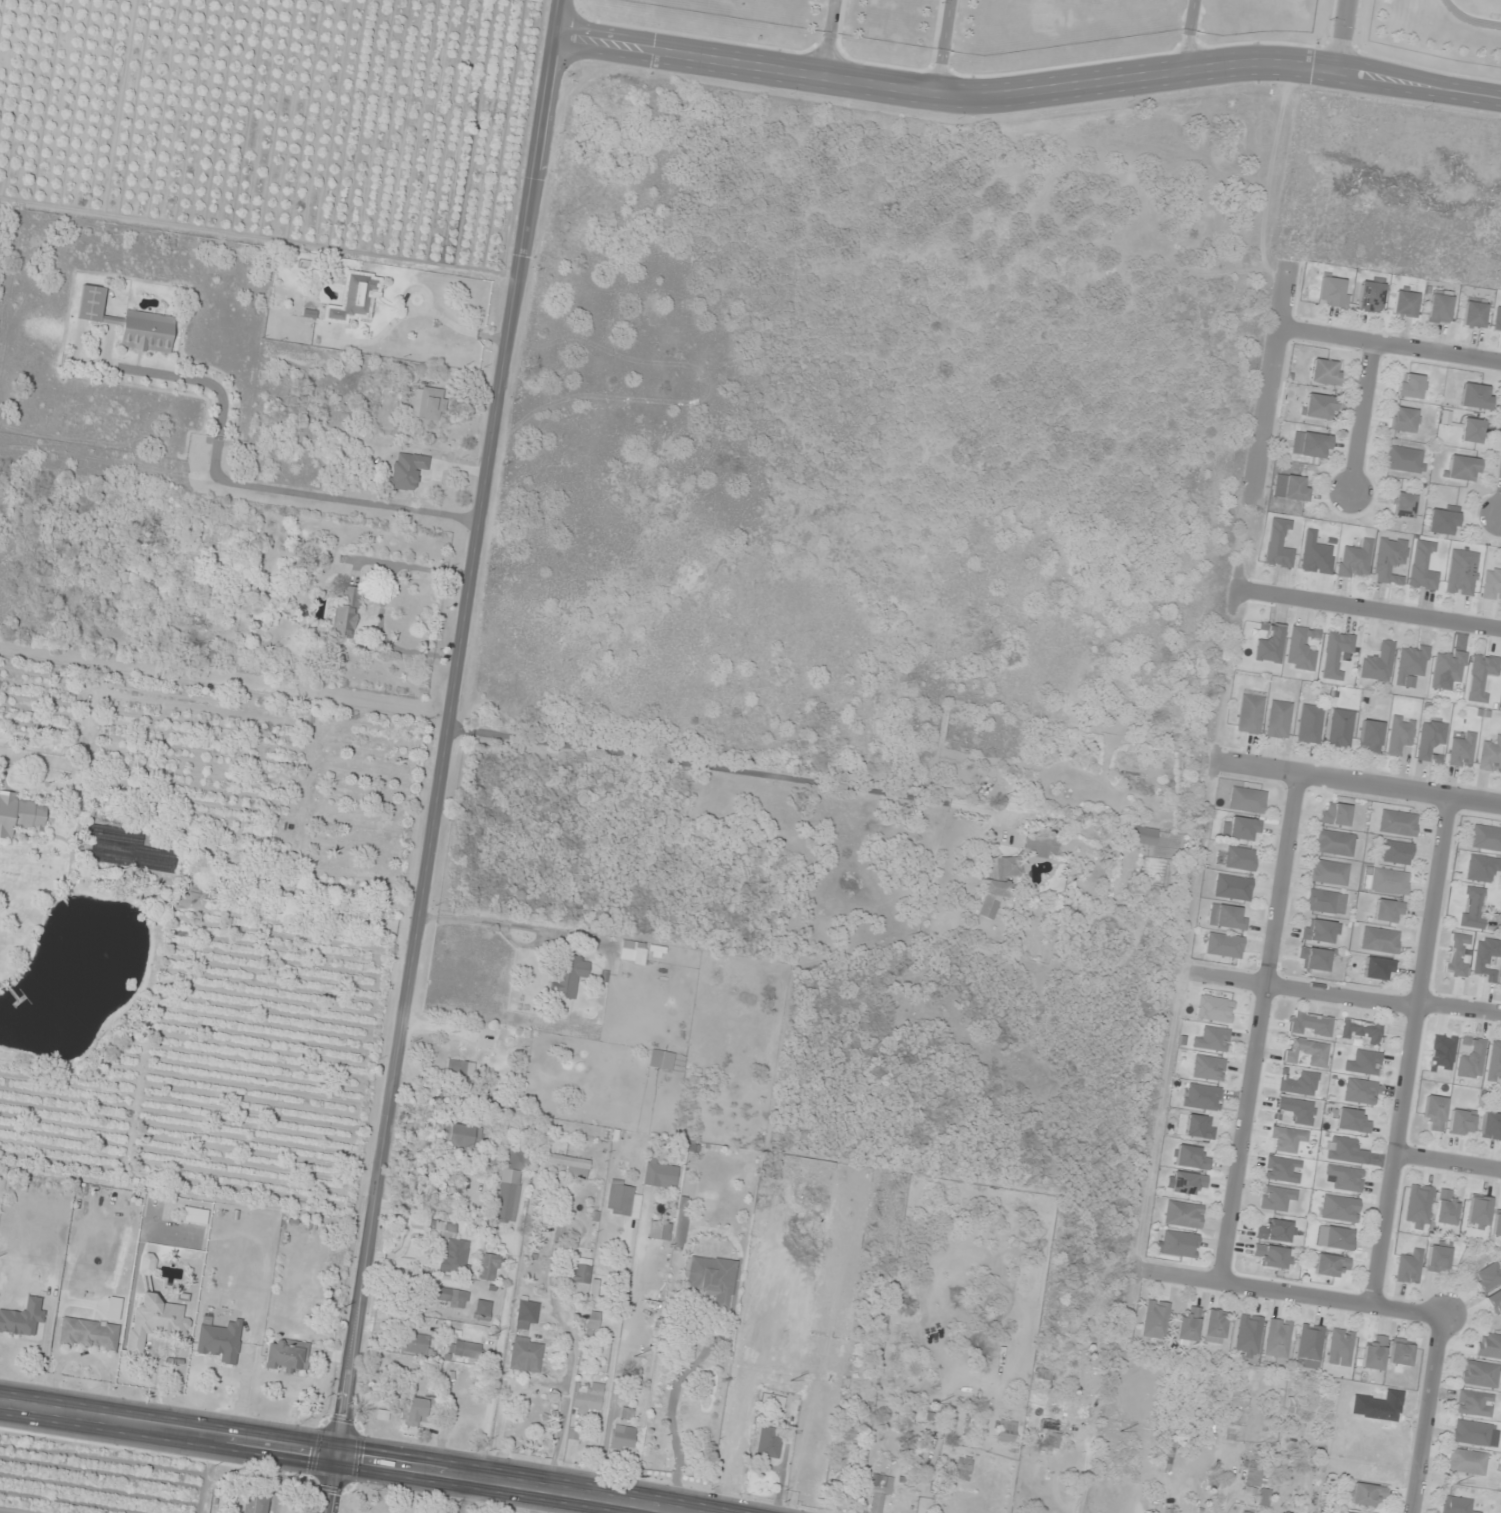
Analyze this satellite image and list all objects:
road: (1189, 34)
road: (1341, 35)
road: (828, 38)
road: (943, 46)
road: (1027, 91)
building: (1332, 293)
building: (1370, 295)
building: (354, 299)
building: (1405, 302)
building: (1439, 307)
building: (1474, 313)
road: (428, 316)
building: (1498, 320)
building: (129, 323)
road: (1390, 345)
building: (1325, 372)
road: (1271, 384)
building: (1412, 386)
building: (1476, 396)
building: (430, 404)
building: (1319, 407)
road: (1362, 419)
building: (1405, 420)
building: (1472, 430)
building: (1311, 444)
building: (1405, 459)
building: (1462, 468)
building: (407, 470)
building: (1296, 488)
building: (1404, 505)
building: (1443, 520)
building: (1279, 545)
building: (1356, 560)
building: (1390, 560)
building: (1424, 567)
building: (1462, 572)
building: (1492, 583)
road: (1368, 610)
building: (347, 614)
building: (1271, 645)
building: (1302, 649)
building: (1336, 654)
building: (1378, 663)
building: (1411, 663)
building: (1448, 668)
building: (1481, 676)
building: (1251, 712)
building: (1279, 720)
building: (1310, 724)
road: (447, 727)
building: (1341, 728)
building: (1400, 734)
building: (1370, 736)
building: (1431, 741)
building: (1462, 751)
building: (1491, 756)
road: (1359, 785)
building: (1248, 800)
building: (1335, 814)
building: (21, 815)
building: (1398, 823)
building: (1241, 829)
building: (1145, 836)
building: (1486, 838)
building: (1334, 843)
building: (1041, 846)
building: (1397, 853)
building: (119, 858)
building: (1240, 859)
building: (154, 860)
building: (1003, 867)
building: (1482, 869)
building: (1330, 873)
building: (1386, 881)
building: (1234, 888)
building: (995, 897)
building: (1326, 902)
building: (1472, 908)
building: (1389, 912)
building: (1227, 917)
building: (1320, 932)
building: (1380, 941)
building: (1223, 945)
building: (633, 952)
building: (658, 952)
building: (1457, 955)
building: (1486, 958)
building: (1315, 959)
building: (1379, 969)
building: (569, 975)
road: (1344, 991)
building: (1310, 1024)
road: (1257, 1029)
building: (1363, 1032)
building: (1213, 1040)
building: (1306, 1052)
road: (1410, 1052)
building: (1472, 1059)
building: (661, 1060)
building: (1365, 1063)
building: (1495, 1063)
building: (1208, 1068)
building: (459, 1073)
building: (1299, 1083)
building: (1360, 1091)
building: (1202, 1097)
building: (1296, 1111)
building: (1435, 1112)
building: (1352, 1121)
building: (1461, 1123)
building: (1200, 1127)
building: (1491, 1127)
building: (464, 1137)
building: (1287, 1139)
building: (1346, 1151)
building: (1191, 1158)
building: (571, 1166)
road: (1448, 1166)
building: (1283, 1170)
building: (661, 1175)
building: (1346, 1178)
building: (1187, 1183)
building: (509, 1184)
building: (620, 1198)
building: (1277, 1198)
building: (1419, 1207)
building: (1340, 1209)
building: (1446, 1210)
building: (1479, 1211)
building: (1183, 1215)
building: (195, 1216)
building: (680, 1224)
building: (1497, 1225)
building: (1277, 1231)
building: (659, 1232)
building: (1338, 1239)
building: (1179, 1244)
building: (450, 1248)
building: (1274, 1257)
building: (1439, 1257)
building: (147, 1264)
building: (1330, 1265)
building: (489, 1268)
building: (1409, 1268)
building: (580, 1271)
building: (1487, 1277)
building: (711, 1278)
road: (1291, 1293)
building: (444, 1296)
building: (1495, 1301)
building: (482, 1311)
building: (526, 1314)
building: (23, 1318)
building: (1156, 1320)
building: (592, 1321)
building: (155, 1322)
building: (1189, 1326)
building: (1215, 1326)
building: (88, 1334)
building: (1248, 1335)
building: (1278, 1338)
building: (220, 1340)
building: (415, 1344)
building: (1489, 1345)
building: (1310, 1346)
building: (1341, 1347)
building: (465, 1349)
building: (1401, 1353)
building: (1375, 1354)
building: (526, 1355)
building: (287, 1356)
building: (1074, 1373)
building: (1042, 1374)
building: (1479, 1374)
building: (587, 1399)
building: (1474, 1404)
building: (1292, 1406)
building: (414, 1410)
road: (1430, 1414)
building: (1390, 1424)
road: (169, 1431)
building: (850, 1432)
building: (1006, 1432)
building: (1472, 1433)
building: (1048, 1434)
building: (623, 1438)
building: (768, 1444)
traffic signals: (338, 1456)
building: (1467, 1462)
building: (961, 1468)
road: (333, 1484)
road: (504, 1484)
building: (1258, 1484)
building: (811, 1485)
building: (879, 1494)
building: (1366, 1495)
building: (255, 1505)
building: (1456, 1505)
building: (1245, 1512)
building: (1345, 1512)

